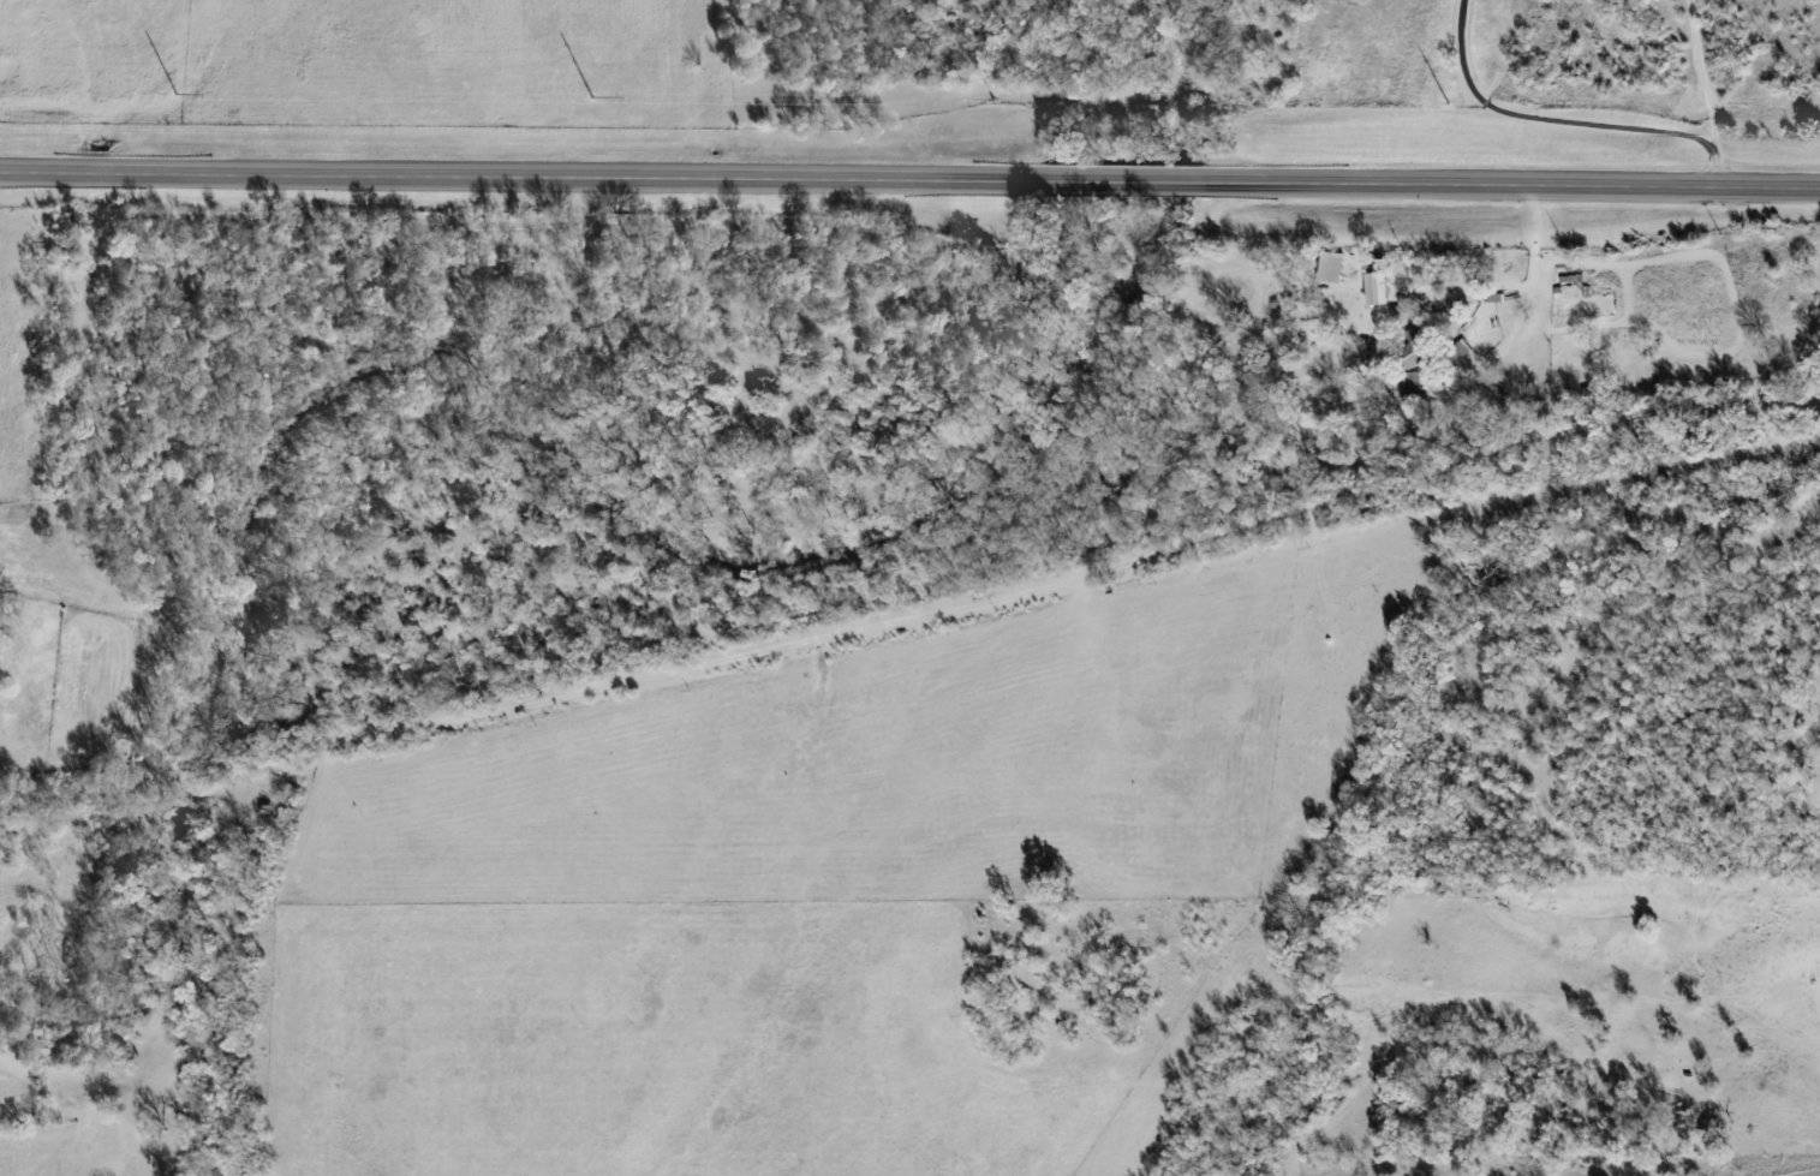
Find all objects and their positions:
road: (1708, 78)
power tower: (183, 97)
power tower: (596, 102)
power tower: (995, 102)
power tower: (1450, 107)
road: (1565, 121)
road: (515, 178)
road: (1117, 183)
road: (1511, 186)
road: (1530, 273)
building: (1372, 287)
building: (1400, 309)
building: (1409, 350)
road: (73, 796)
road: (1812, 1174)

